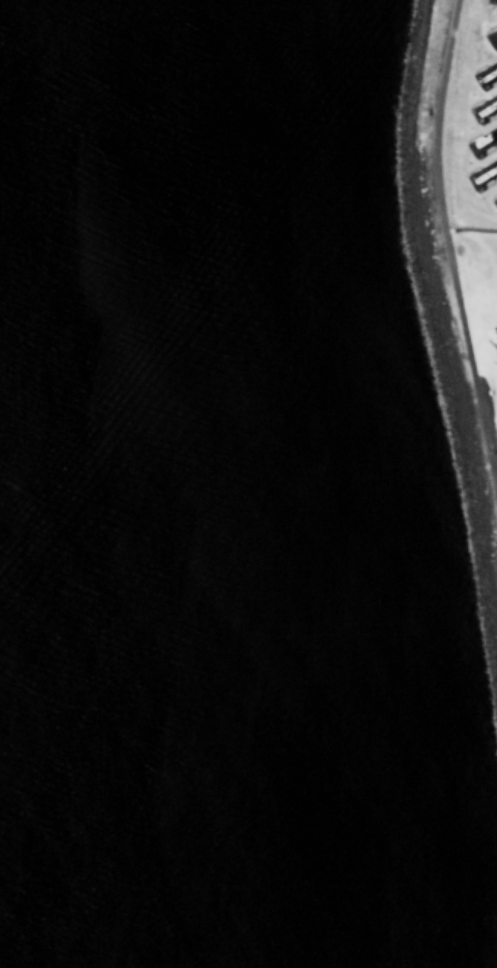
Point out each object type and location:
road: (446, 269)

